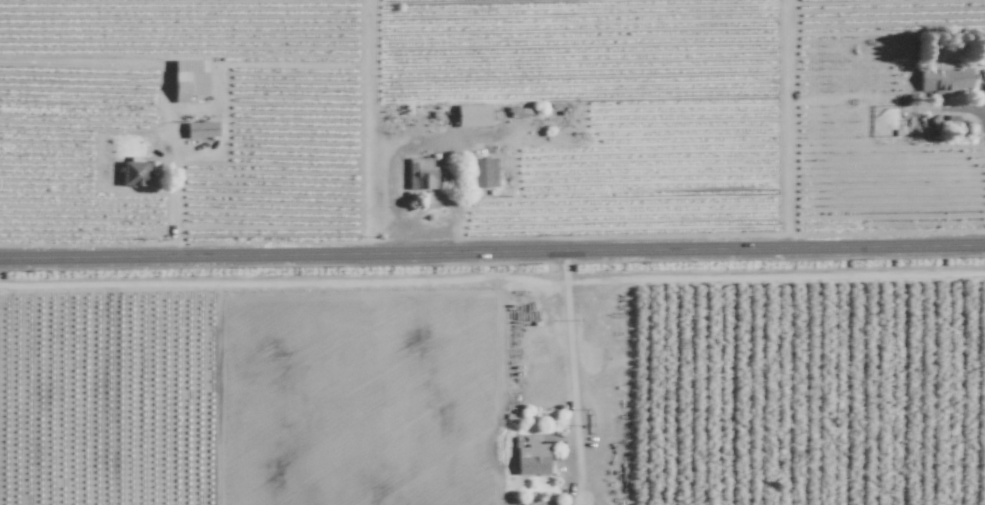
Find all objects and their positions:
building: (944, 79)
building: (188, 80)
building: (473, 115)
road: (171, 119)
road: (981, 121)
road: (785, 123)
building: (201, 129)
building: (134, 173)
building: (421, 174)
road: (492, 251)
road: (573, 375)
building: (533, 460)

